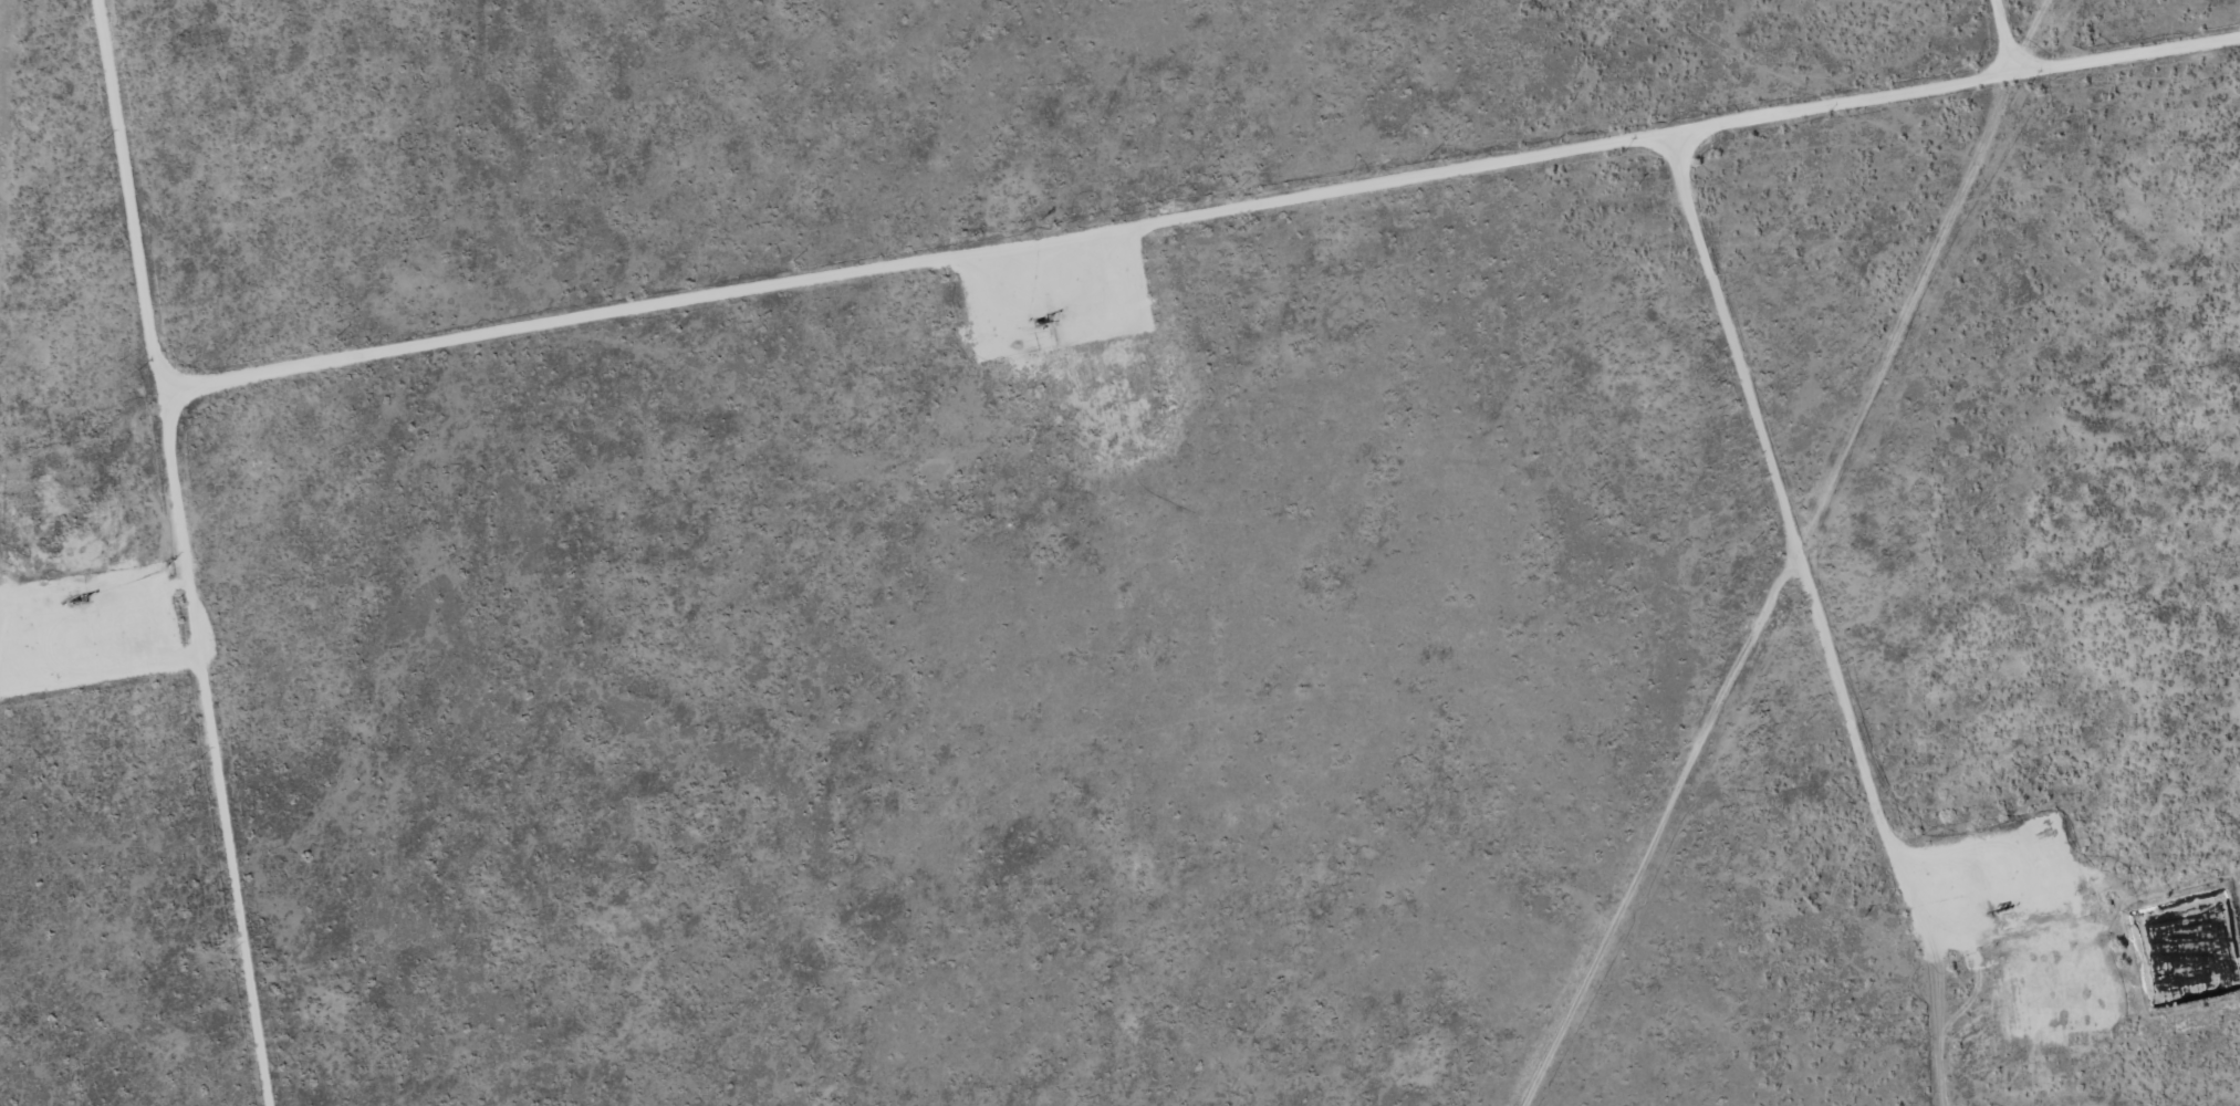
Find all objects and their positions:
road: (25, 993)

